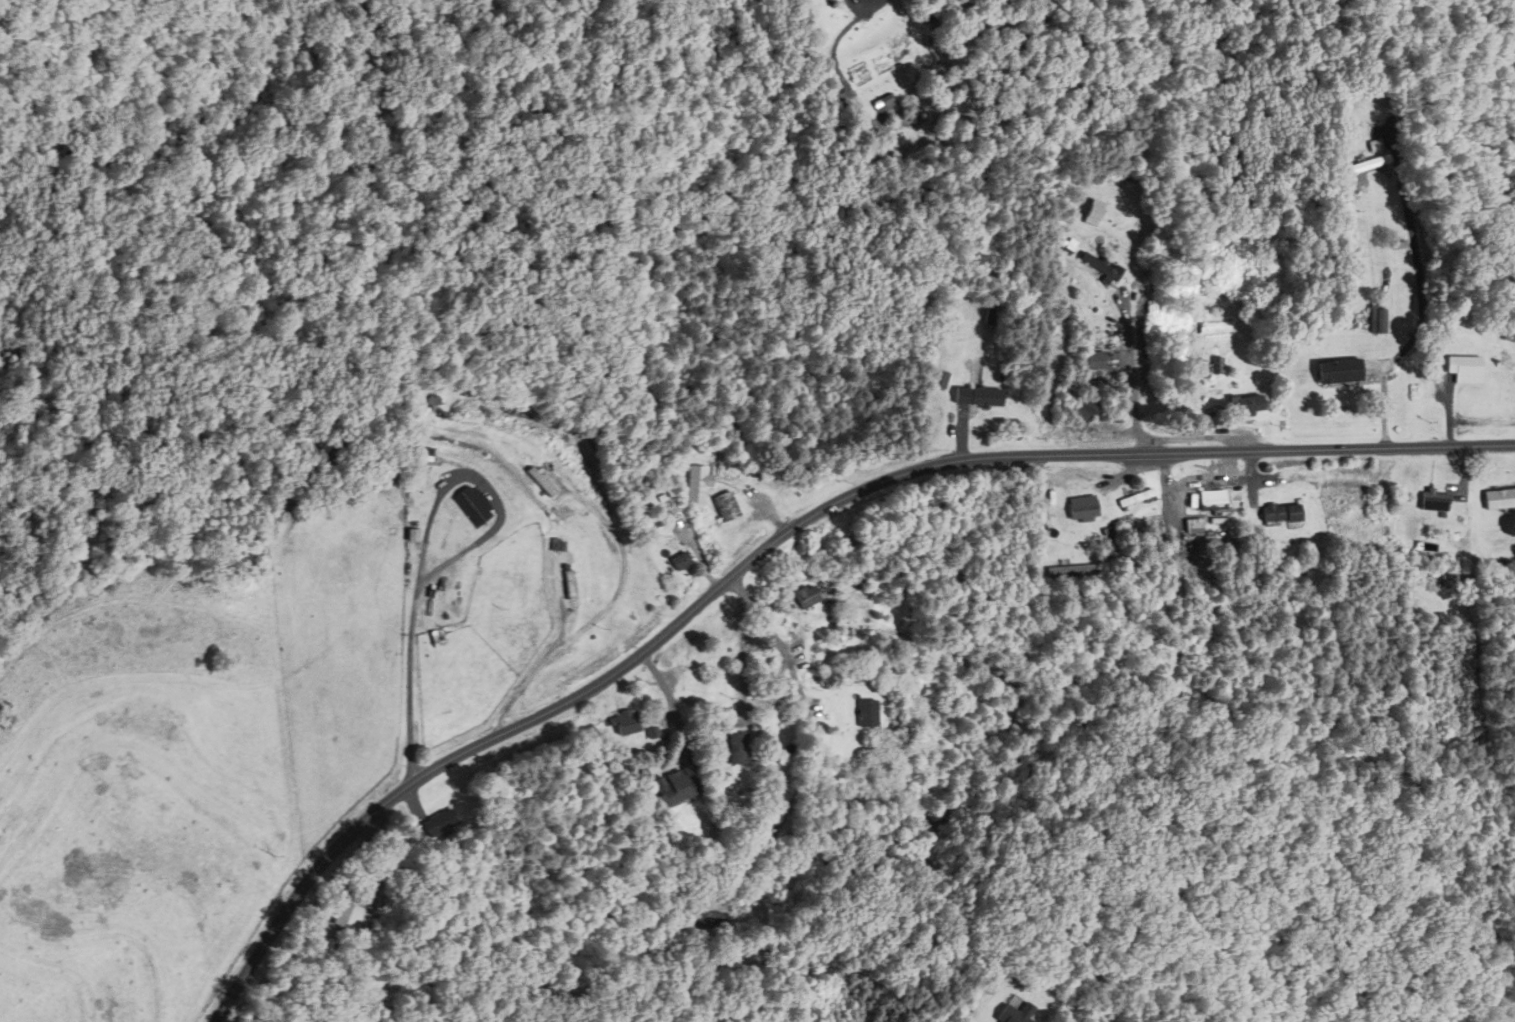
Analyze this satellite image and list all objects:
building: (1366, 164)
building: (1097, 268)
building: (1375, 321)
road: (1419, 324)
building: (1093, 360)
building: (1459, 366)
building: (1335, 372)
road: (1131, 379)
building: (941, 380)
building: (975, 397)
building: (1245, 405)
building: (1079, 411)
building: (418, 454)
building: (543, 481)
building: (698, 485)
building: (1133, 498)
building: (1499, 499)
building: (1432, 500)
building: (1211, 501)
building: (470, 505)
building: (728, 507)
building: (1079, 508)
building: (1278, 513)
building: (1193, 526)
building: (411, 536)
road: (781, 543)
road: (446, 562)
building: (680, 562)
building: (1055, 571)
building: (571, 582)
building: (805, 597)
road: (741, 651)
building: (867, 713)
building: (626, 722)
road: (812, 725)
building: (741, 747)
building: (675, 786)
building: (439, 823)
building: (352, 915)
building: (706, 918)
building: (1012, 1014)

